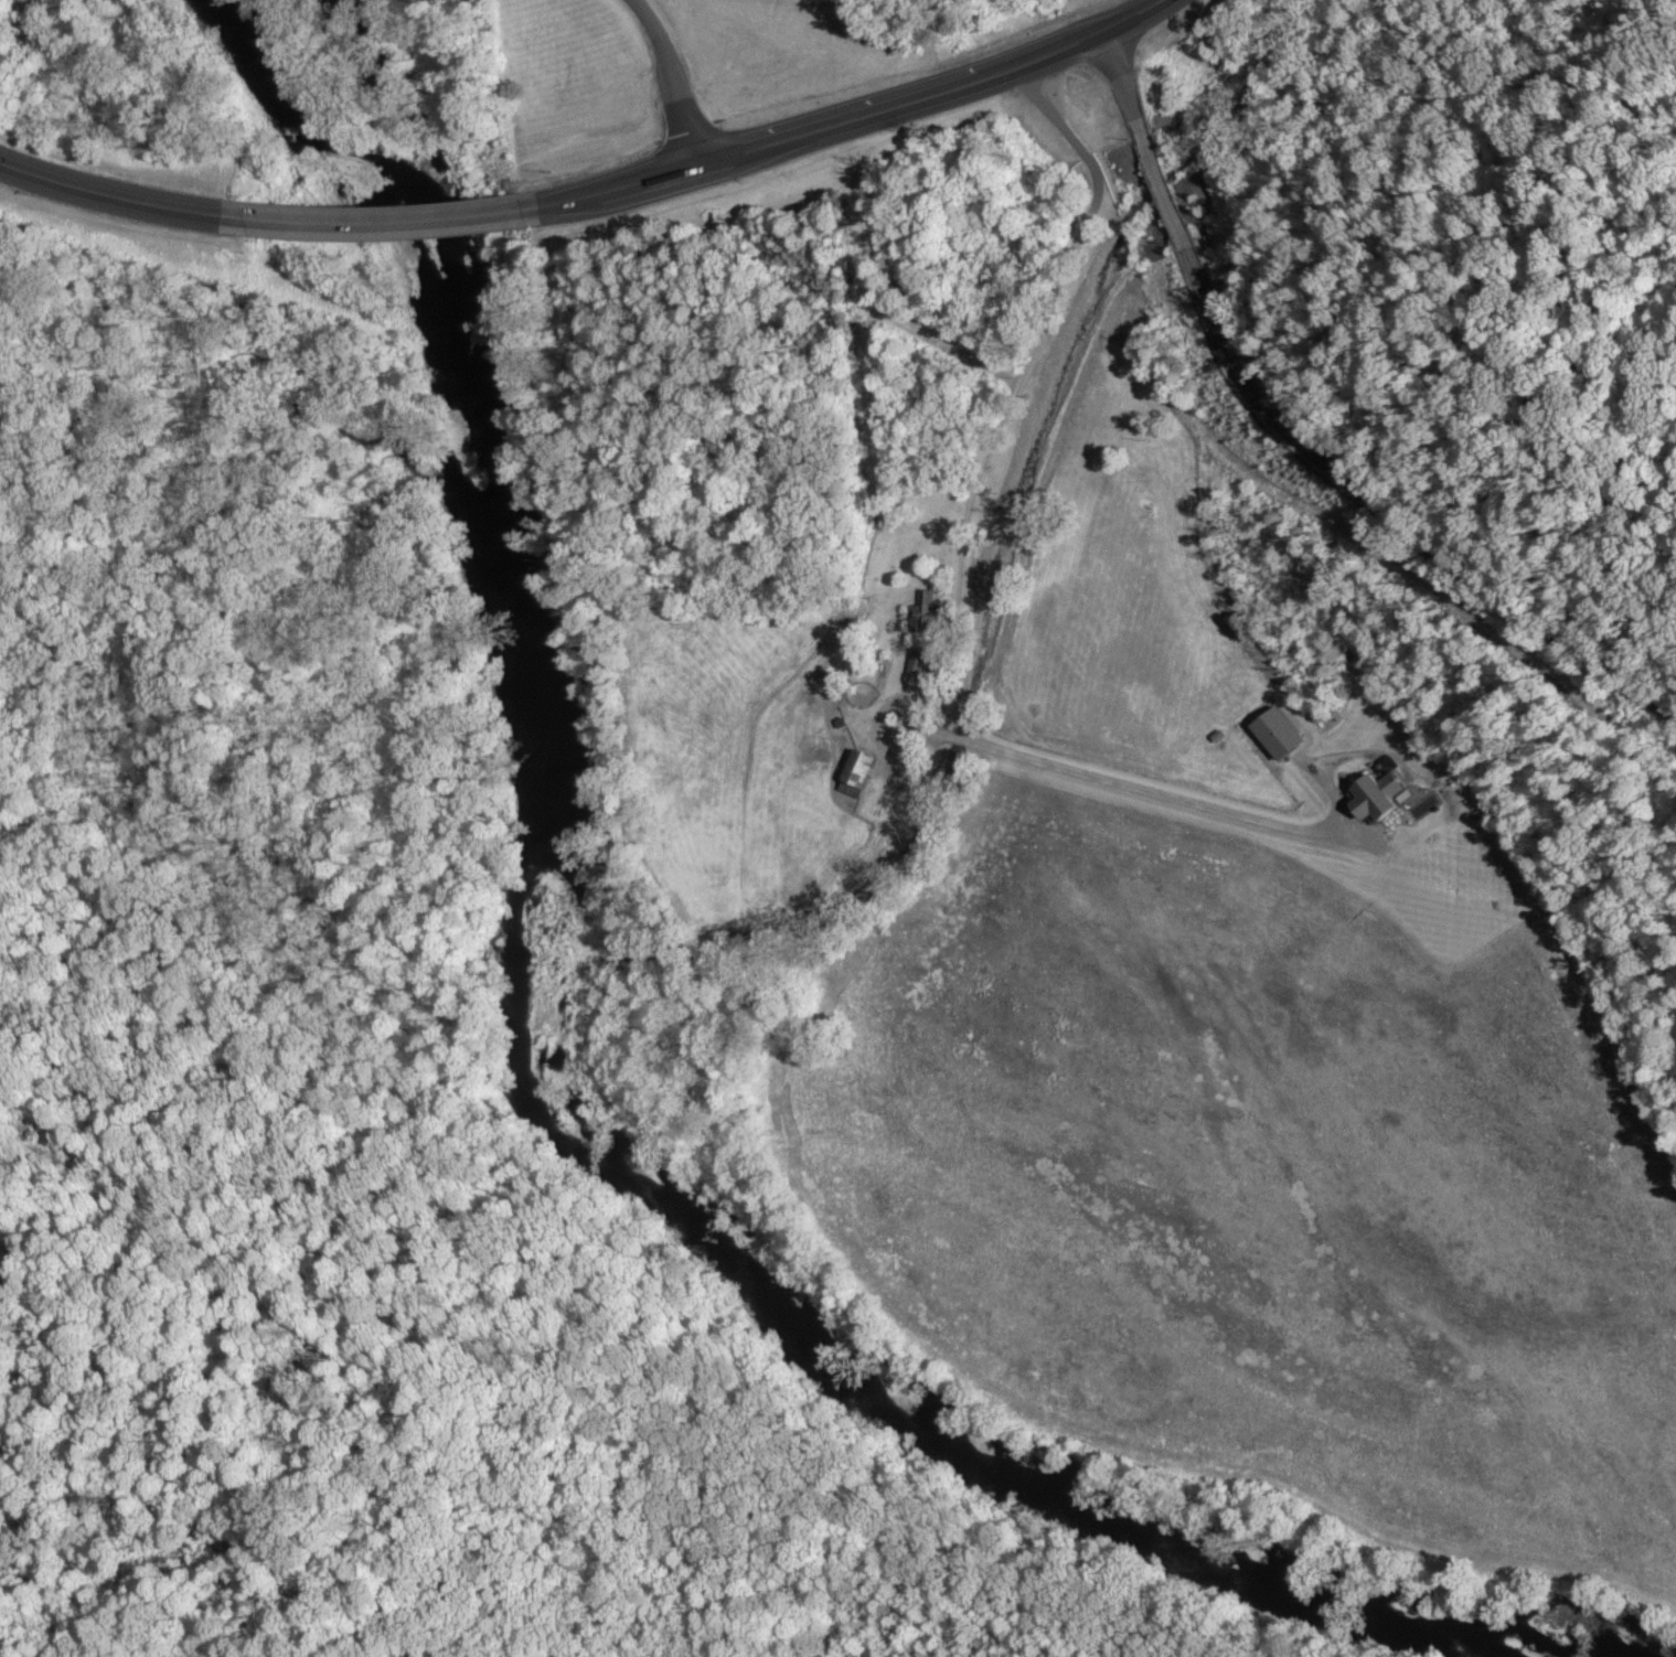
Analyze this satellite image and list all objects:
road: (1122, 73)
road: (671, 78)
road: (856, 120)
road: (1161, 182)
road: (121, 197)
road: (393, 224)
road: (1406, 507)
building: (1273, 731)
building: (1373, 795)

